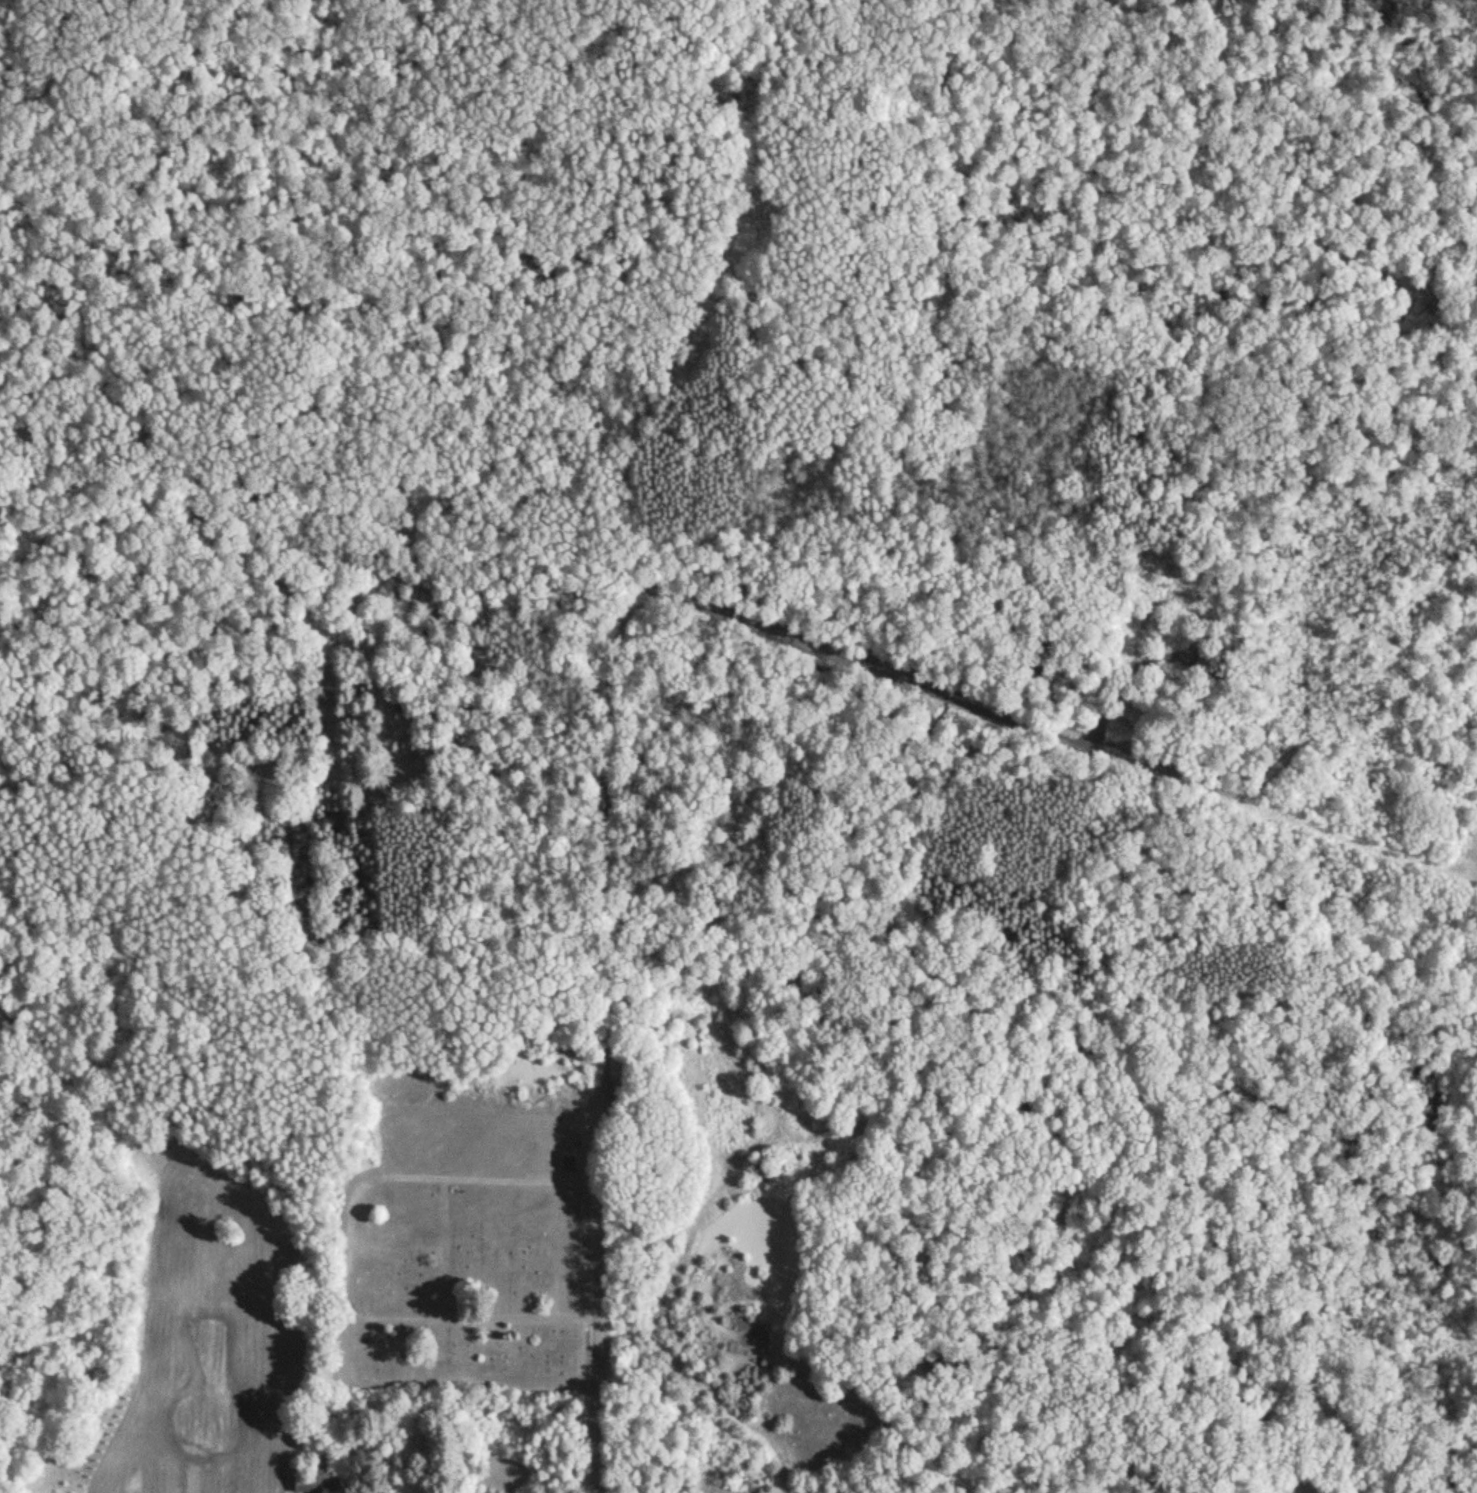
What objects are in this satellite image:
building: (404, 744)
building: (566, 1164)
road: (604, 1225)
park: (455, 1237)
building: (311, 1479)

